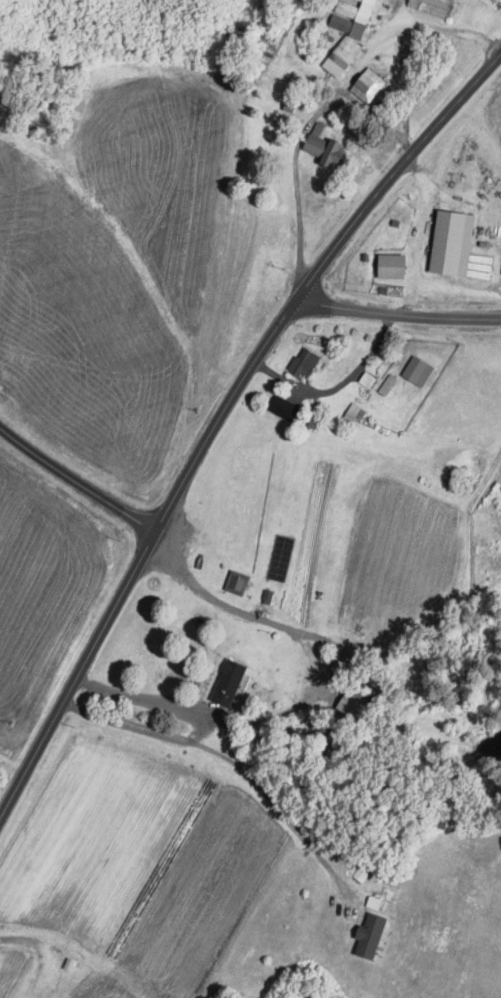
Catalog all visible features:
building: (435, 7)
road: (394, 14)
building: (354, 17)
building: (343, 55)
building: (370, 84)
road: (331, 100)
building: (326, 145)
building: (459, 245)
building: (394, 265)
road: (312, 278)
road: (398, 312)
building: (306, 362)
building: (420, 369)
building: (369, 379)
road: (339, 383)
building: (389, 383)
building: (286, 407)
road: (75, 479)
building: (269, 596)
road: (236, 609)
road: (333, 659)
road: (77, 671)
building: (235, 681)
road: (137, 727)
road: (275, 803)
building: (372, 935)

